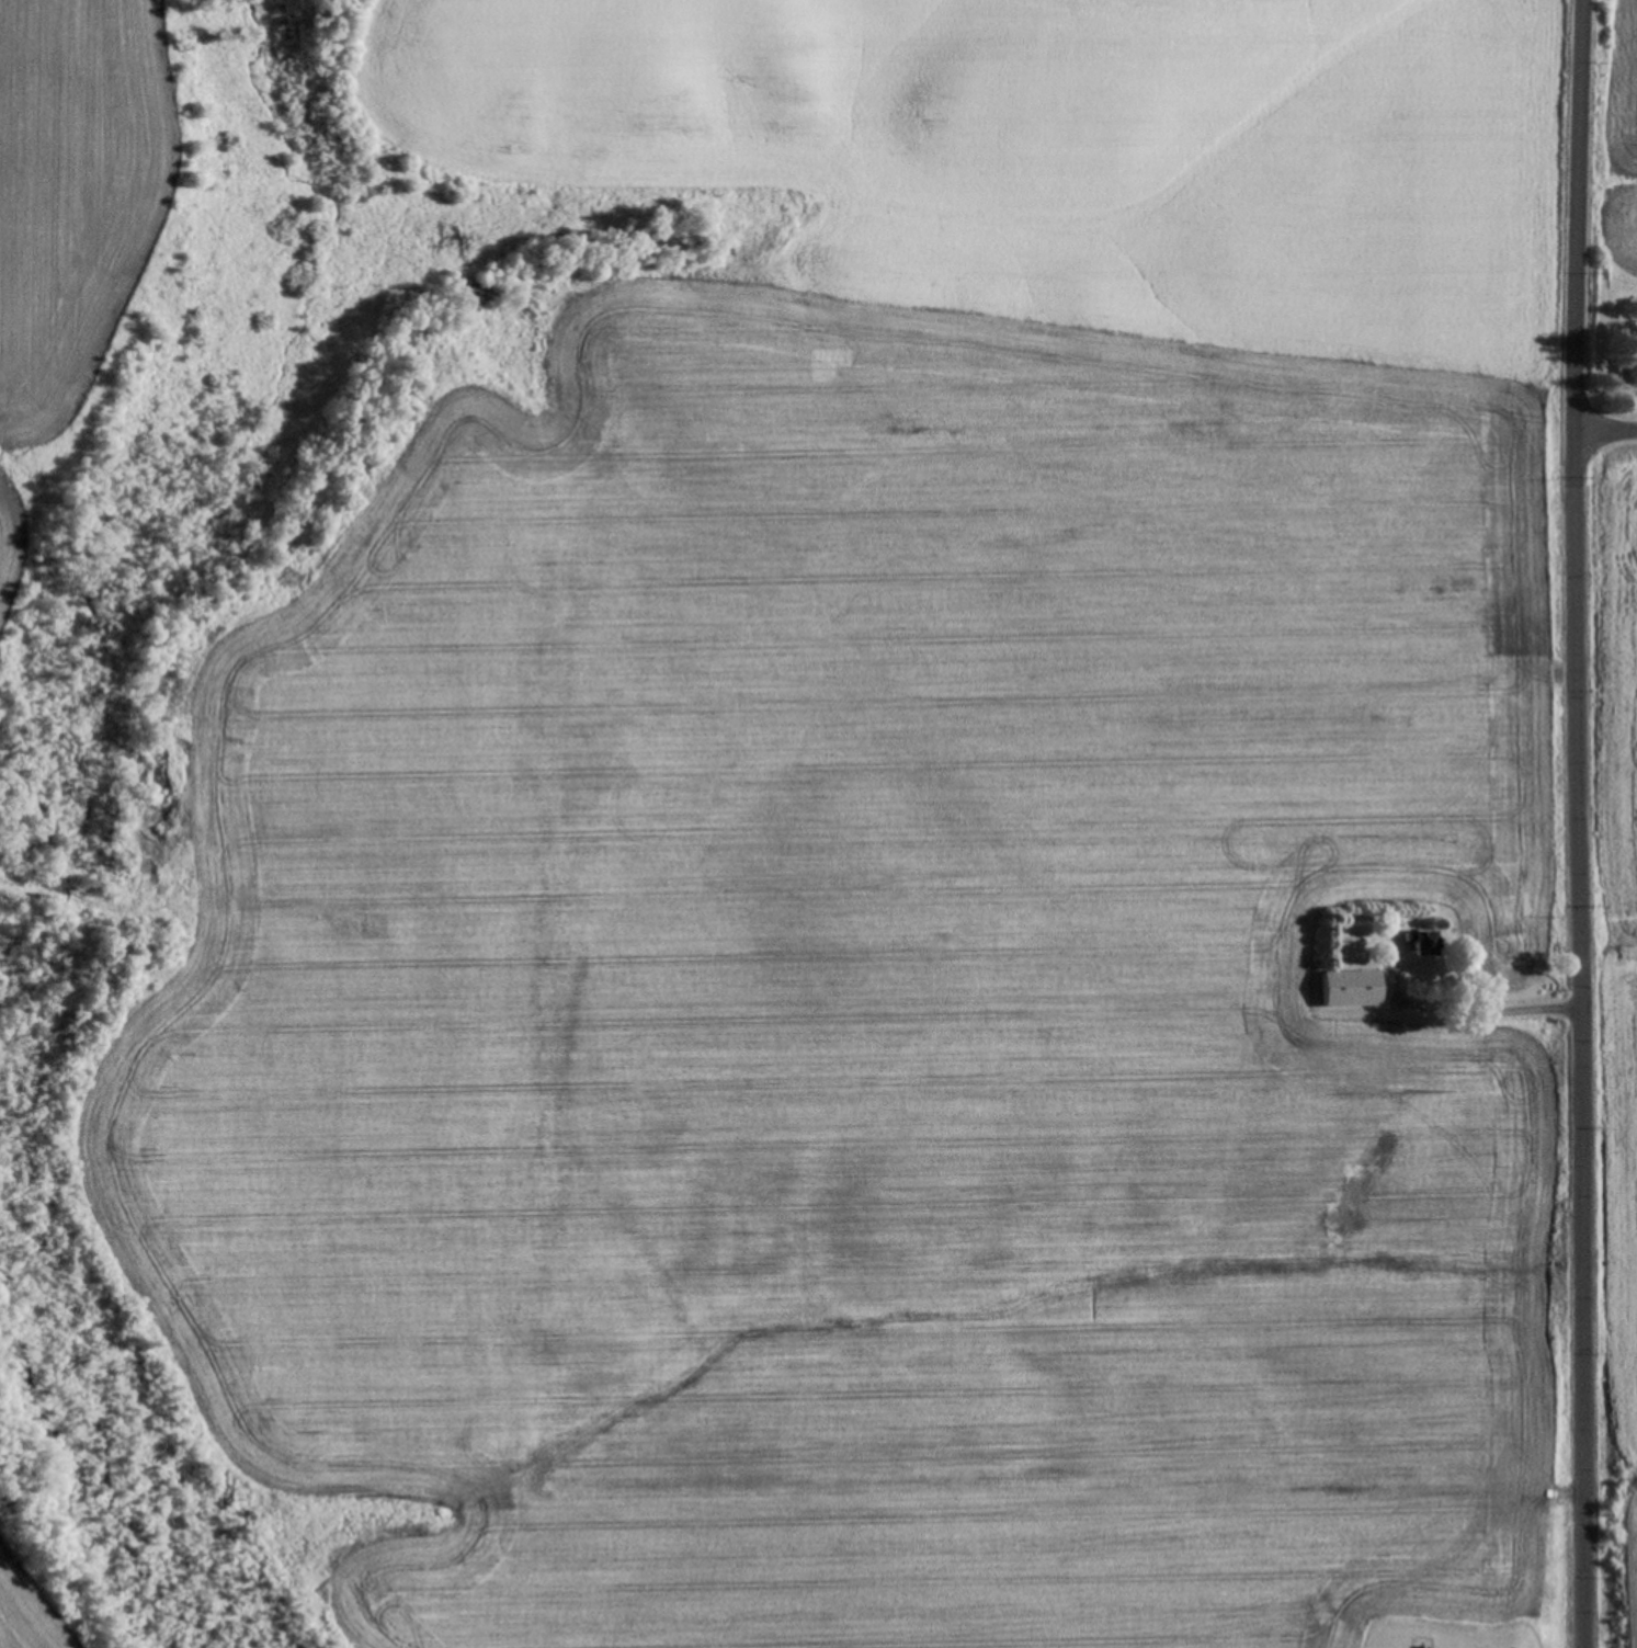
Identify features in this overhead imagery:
building: (1628, 377)
road: (1599, 430)
road: (1565, 823)
building: (1366, 973)
building: (1330, 982)
building: (1321, 1055)

